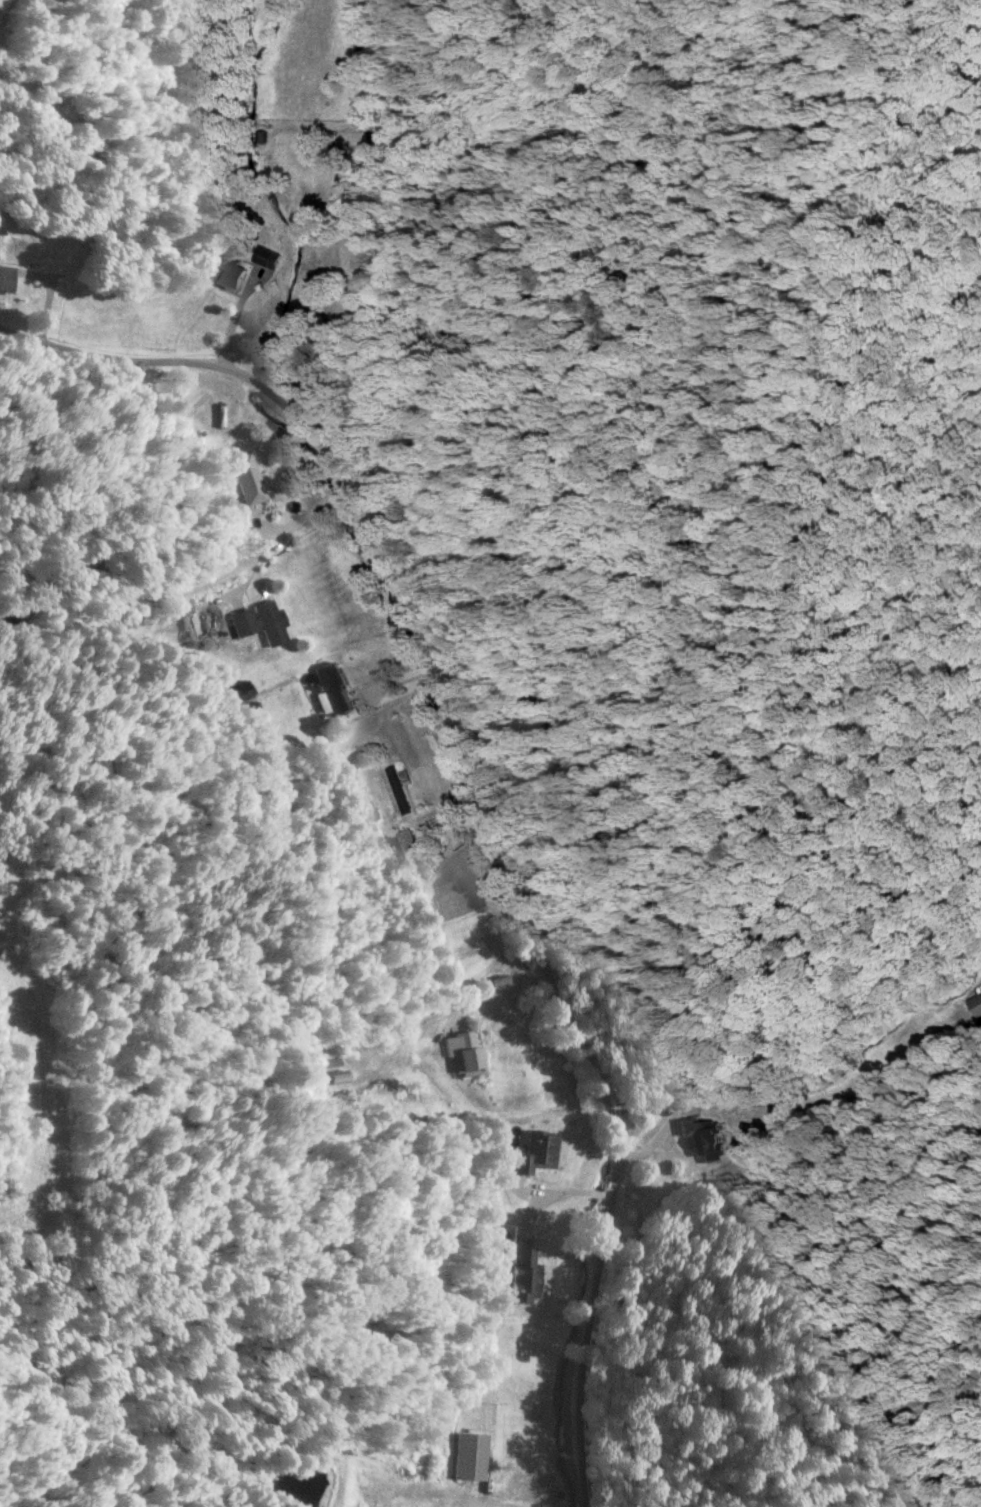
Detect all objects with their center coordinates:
road: (372, 231)
building: (268, 257)
building: (228, 273)
building: (7, 279)
building: (249, 477)
road: (236, 610)
building: (244, 623)
building: (270, 623)
building: (334, 689)
building: (396, 792)
road: (484, 792)
building: (408, 848)
building: (980, 988)
building: (977, 1005)
building: (467, 1053)
building: (340, 1079)
building: (705, 1139)
building: (537, 1152)
building: (522, 1277)
building: (470, 1456)

